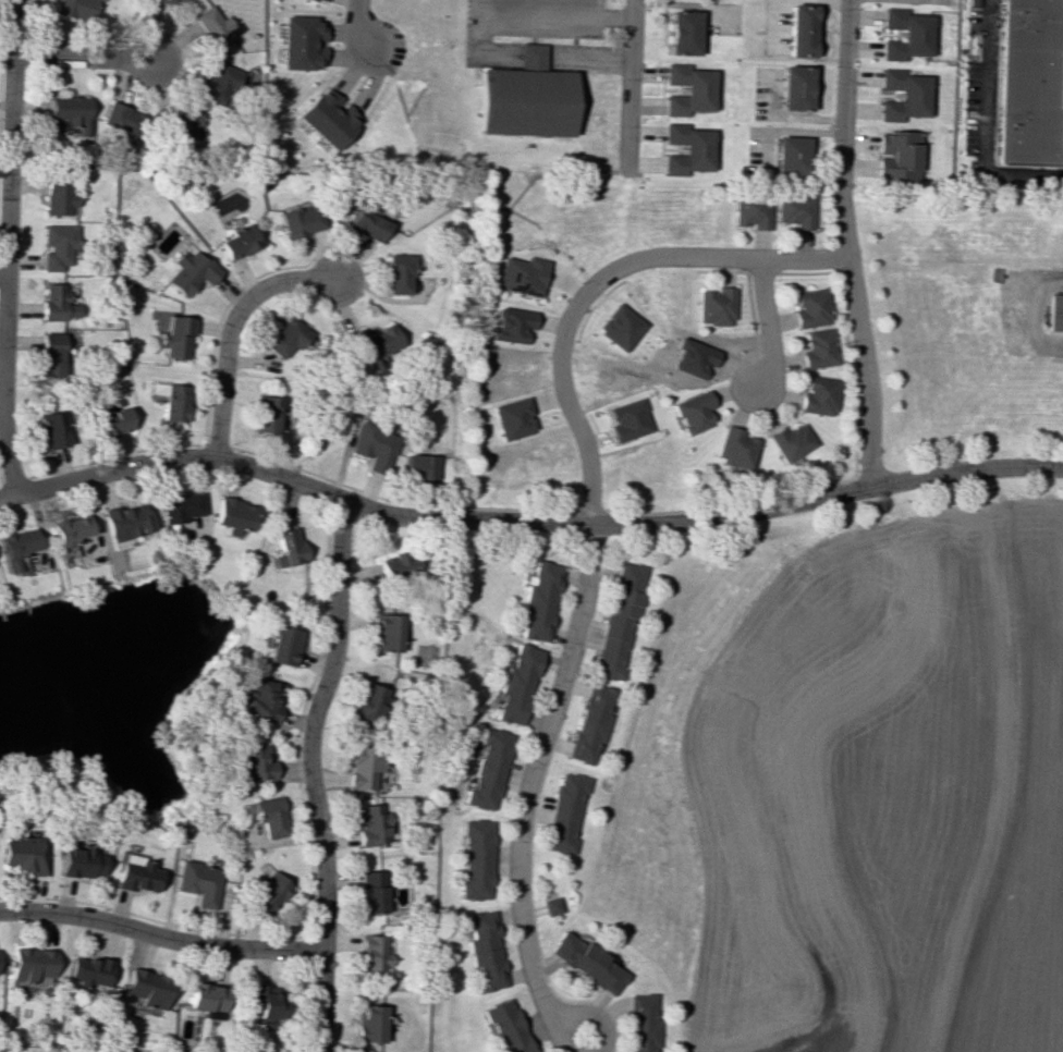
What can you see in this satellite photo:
building: (321, 0)
building: (167, 1)
building: (973, 1)
building: (74, 8)
road: (550, 17)
parking lot: (525, 20)
road: (362, 24)
building: (215, 26)
building: (799, 30)
building: (682, 33)
building: (905, 34)
building: (302, 42)
parking lot: (585, 51)
road: (82, 59)
road: (530, 59)
building: (1033, 81)
building: (218, 84)
road: (627, 87)
building: (793, 87)
building: (688, 89)
building: (903, 95)
building: (524, 102)
building: (68, 111)
building: (329, 118)
building: (120, 121)
road: (987, 122)
building: (178, 125)
building: (687, 149)
building: (791, 155)
building: (899, 155)
building: (56, 194)
building: (795, 210)
building: (752, 212)
building: (302, 220)
building: (367, 224)
building: (240, 241)
road: (846, 243)
building: (57, 246)
road: (2, 247)
building: (191, 271)
road: (1, 272)
building: (399, 273)
building: (521, 276)
building: (54, 303)
building: (714, 306)
building: (810, 308)
building: (1054, 311)
road: (766, 323)
building: (511, 325)
building: (620, 327)
road: (229, 330)
building: (176, 337)
building: (288, 338)
building: (371, 343)
building: (818, 348)
building: (50, 354)
building: (706, 356)
building: (817, 395)
building: (692, 412)
building: (265, 414)
building: (512, 418)
building: (628, 419)
building: (111, 421)
building: (52, 428)
building: (789, 441)
building: (372, 445)
building: (733, 448)
building: (418, 466)
building: (178, 506)
building: (232, 515)
road: (526, 522)
building: (123, 523)
road: (591, 527)
building: (69, 529)
building: (16, 547)
building: (284, 547)
building: (395, 565)
building: (538, 601)
building: (618, 621)
building: (386, 632)
building: (281, 646)
building: (515, 685)
building: (258, 700)
building: (368, 701)
building: (590, 723)
road: (309, 724)
building: (252, 762)
building: (363, 767)
building: (487, 770)
crop: (887, 795)
building: (564, 811)
building: (267, 815)
building: (371, 824)
building: (22, 855)
building: (476, 859)
building: (82, 861)
building: (137, 873)
building: (198, 882)
building: (372, 891)
building: (270, 893)
building: (551, 906)
road: (160, 937)
building: (486, 951)
building: (374, 955)
building: (587, 962)
building: (32, 964)
building: (90, 971)
building: (148, 988)
building: (208, 999)
building: (265, 1001)
road: (320, 1002)
road: (584, 1011)
building: (643, 1023)
building: (371, 1024)
building: (509, 1026)

